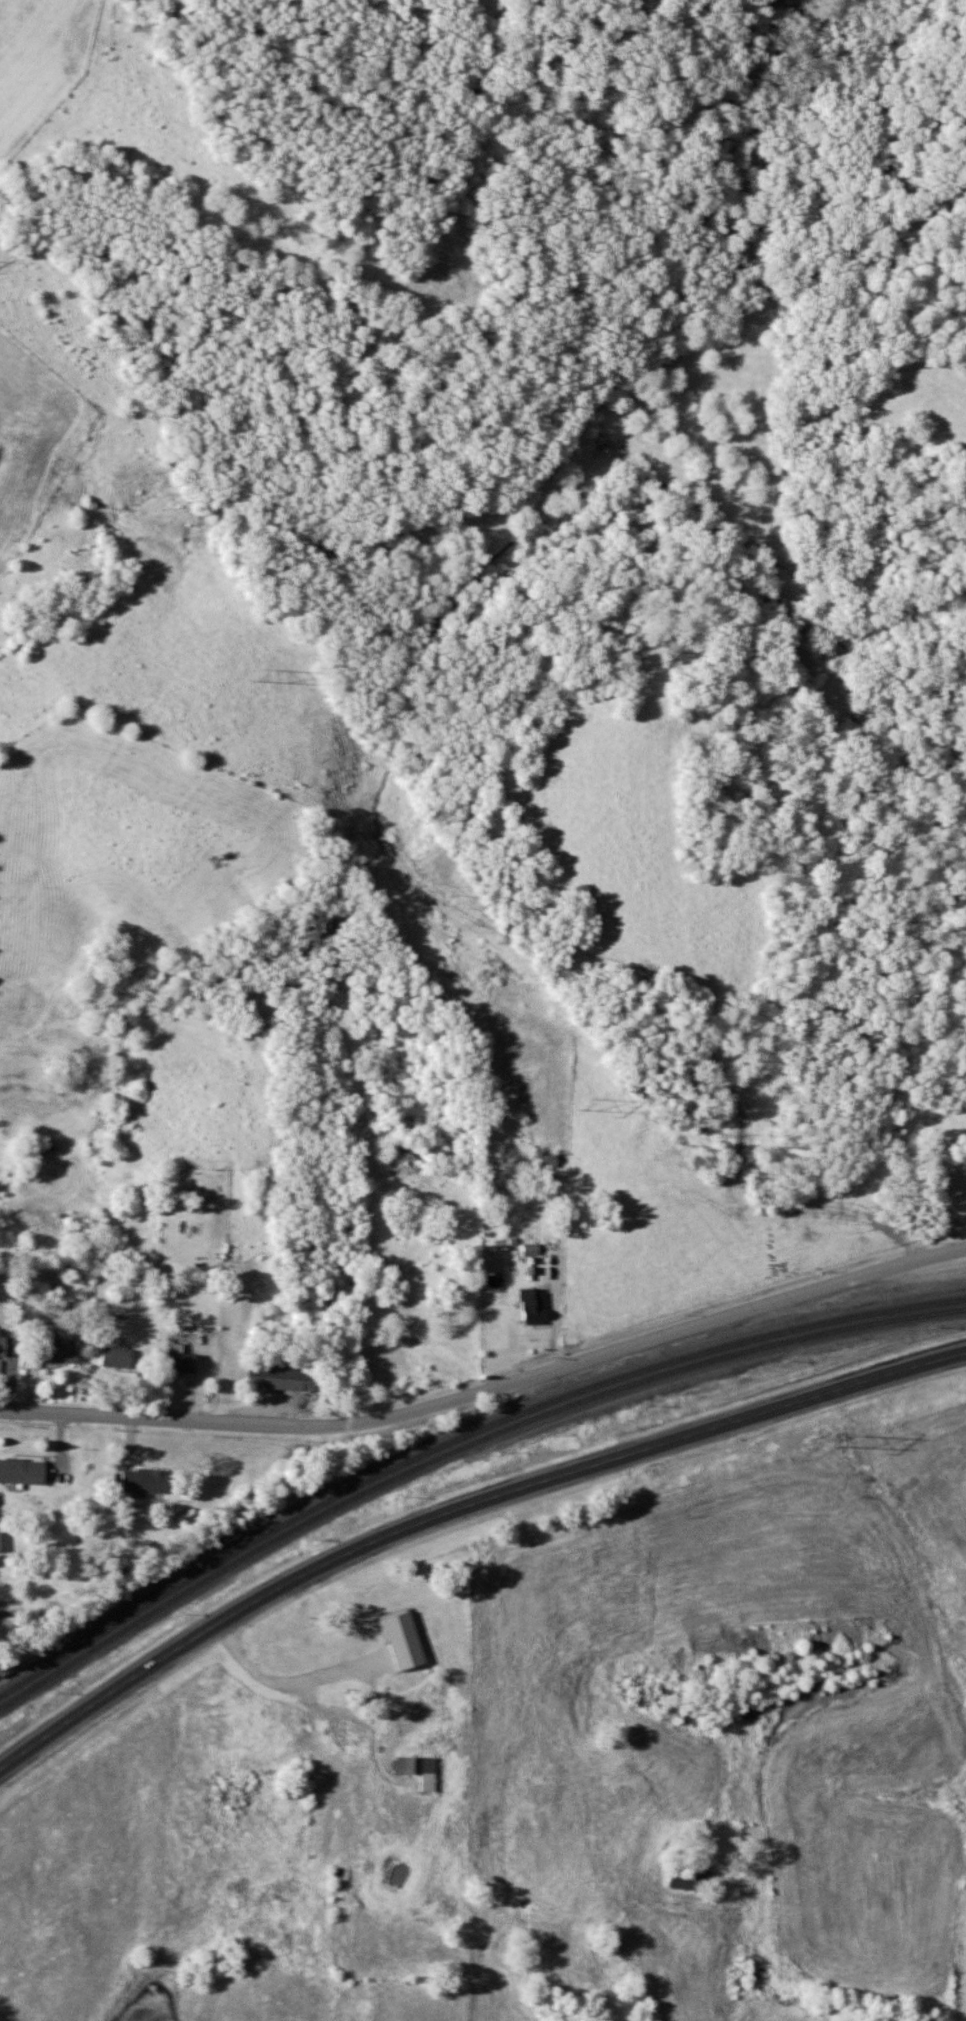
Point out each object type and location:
crop: (40, 58)
power tower: (259, 674)
power tower: (582, 1102)
building: (550, 1160)
building: (534, 1307)
building: (10, 1343)
building: (62, 1351)
building: (118, 1358)
building: (182, 1363)
building: (274, 1376)
road: (490, 1390)
railway: (458, 1439)
power tower: (844, 1439)
railway: (458, 1449)
building: (23, 1472)
building: (147, 1481)
road: (457, 1509)
building: (0, 1540)
road: (293, 1675)
building: (421, 1771)
building: (684, 1880)

